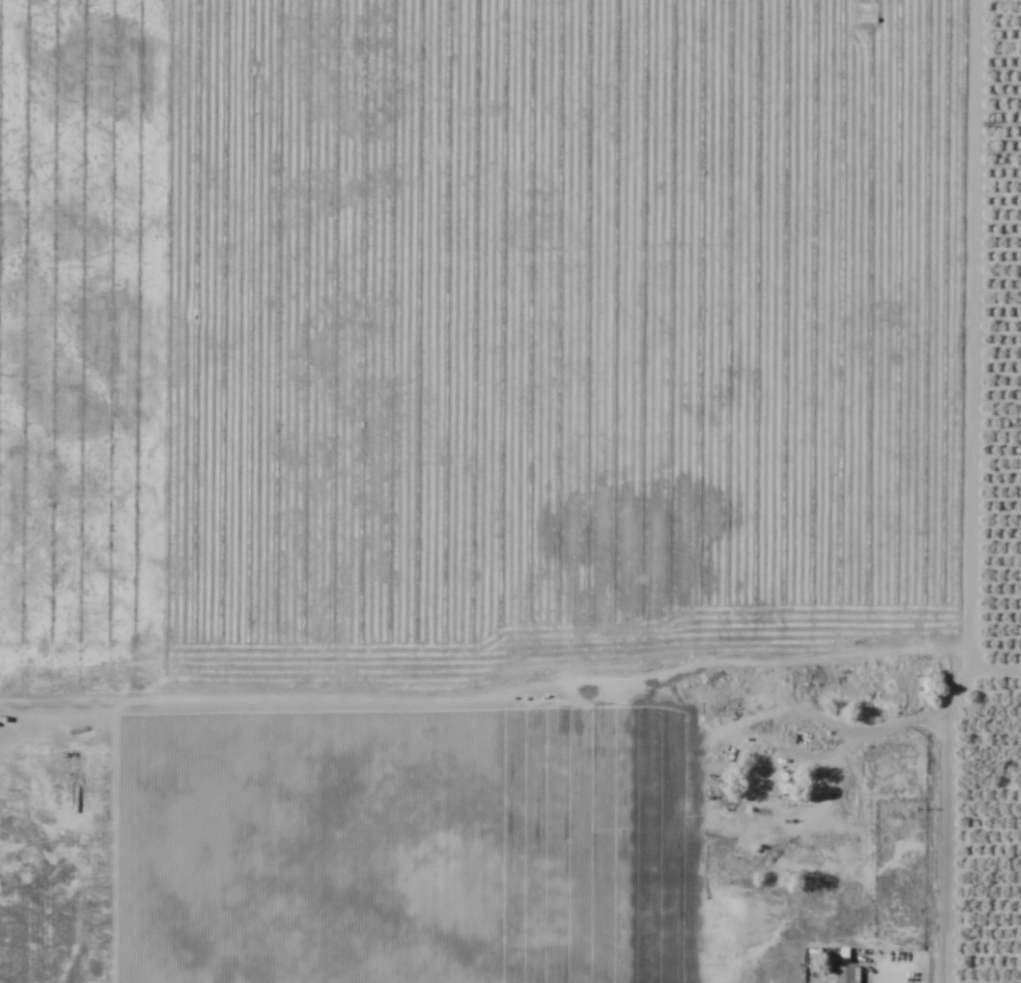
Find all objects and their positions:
building: (773, 774)
road: (952, 823)

